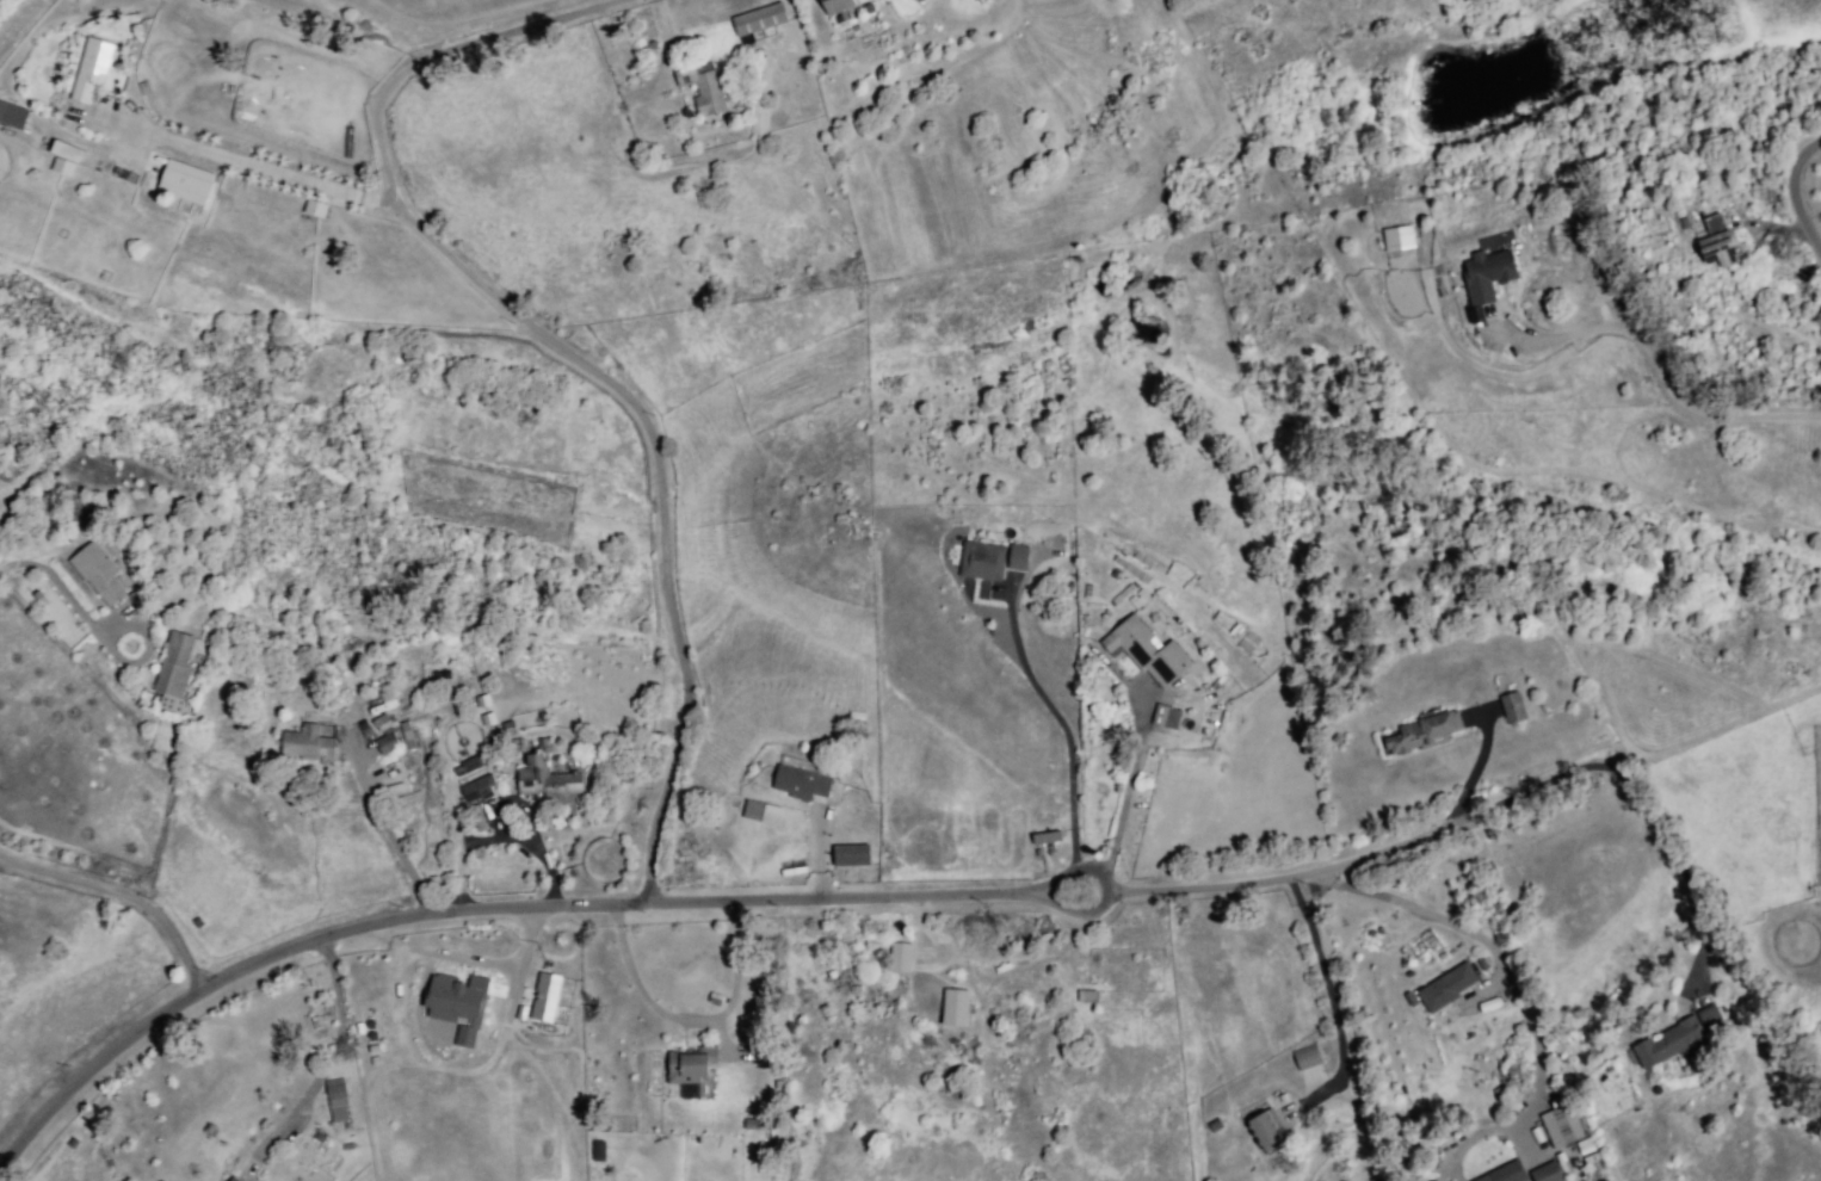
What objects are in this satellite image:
building: (916, 1)
building: (834, 6)
building: (761, 23)
building: (95, 76)
building: (698, 86)
building: (0, 99)
building: (13, 118)
building: (64, 150)
road: (252, 163)
building: (62, 166)
road: (1800, 179)
building: (185, 185)
building: (314, 208)
building: (1714, 224)
building: (1397, 237)
building: (1717, 255)
building: (1489, 274)
road: (569, 350)
road: (1662, 367)
building: (1018, 558)
building: (980, 562)
building: (87, 569)
road: (56, 585)
building: (1241, 637)
building: (1148, 653)
building: (172, 663)
building: (171, 703)
building: (1511, 707)
building: (1172, 719)
building: (1418, 732)
road: (1063, 737)
building: (308, 744)
building: (387, 747)
building: (469, 769)
building: (548, 781)
building: (798, 785)
building: (477, 794)
road: (1124, 805)
building: (760, 811)
road: (391, 836)
building: (1045, 842)
road: (537, 852)
building: (850, 855)
road: (1248, 885)
road: (124, 897)
road: (476, 907)
road: (1487, 936)
road: (464, 957)
building: (899, 960)
road: (1323, 979)
building: (1445, 988)
building: (544, 996)
building: (1086, 997)
building: (456, 1004)
building: (955, 1006)
building: (1708, 1016)
road: (687, 1019)
building: (1667, 1041)
road: (326, 1059)
building: (1308, 1061)
building: (686, 1068)
building: (338, 1102)
building: (753, 1123)
building: (1561, 1125)
building: (1263, 1134)
building: (597, 1150)
building: (1588, 1150)
building: (1504, 1174)
building: (1549, 1176)
building: (235, 1180)

